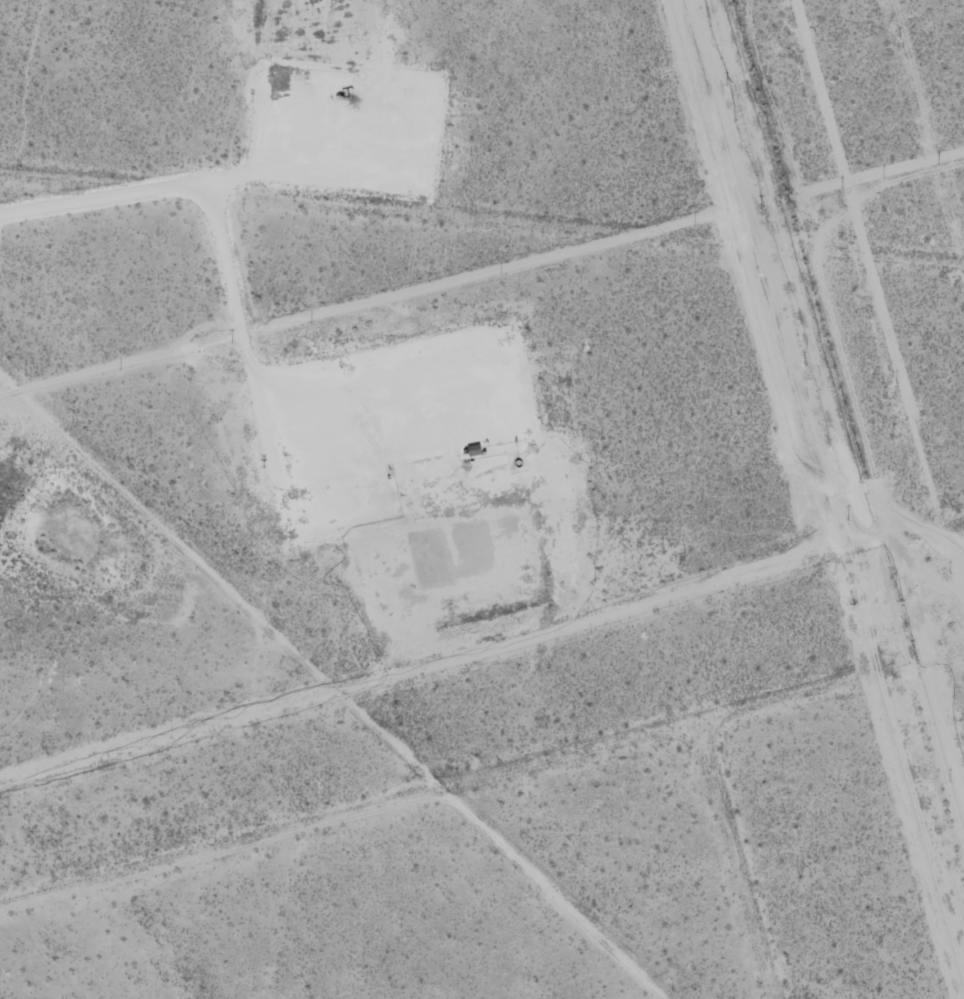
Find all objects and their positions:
petroleum well: (345, 97)

